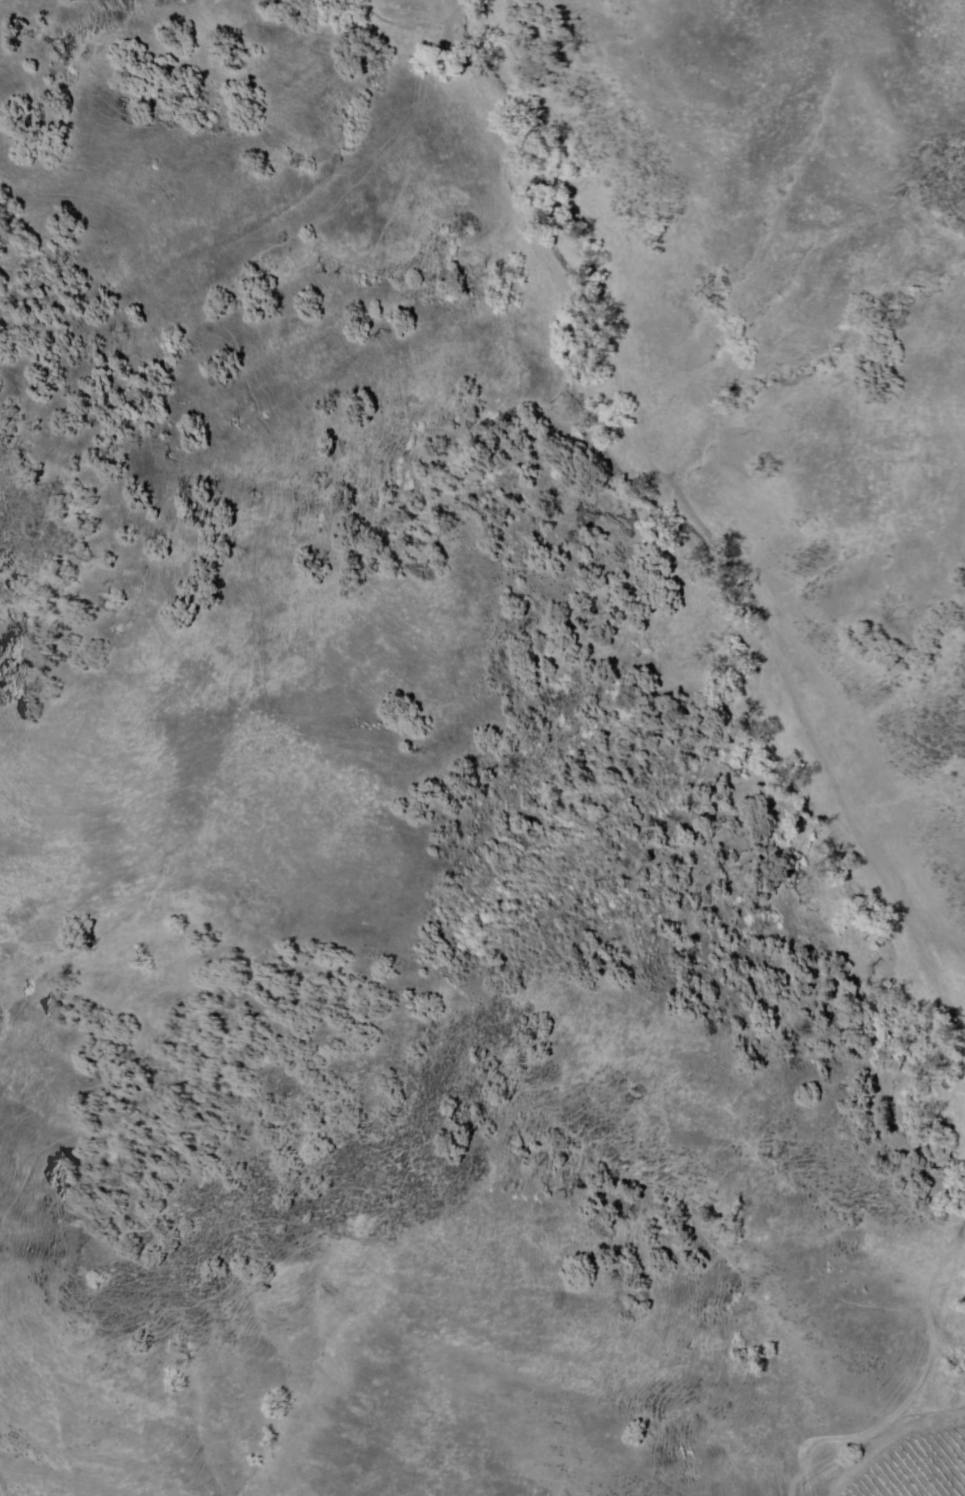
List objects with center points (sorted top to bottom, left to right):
crop: (895, 1456)

